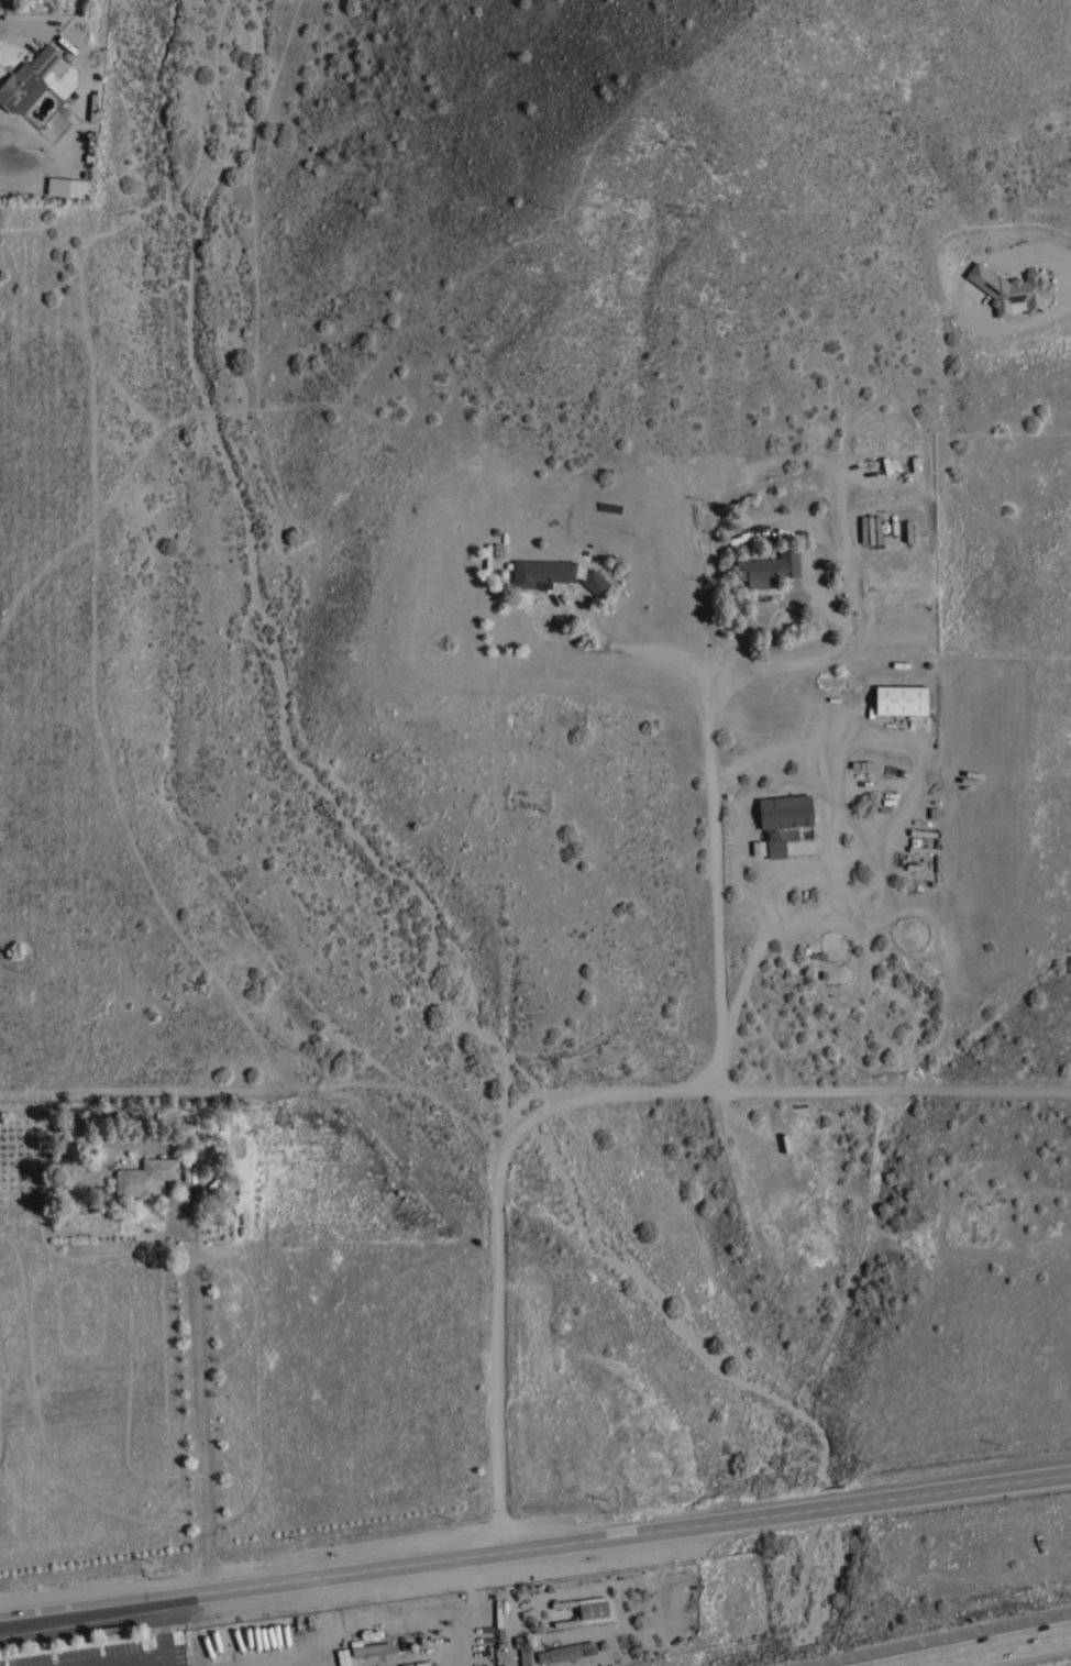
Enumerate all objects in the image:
road: (19, 34)
building: (26, 80)
building: (67, 187)
building: (1012, 289)
building: (769, 569)
building: (542, 573)
building: (595, 582)
road: (772, 605)
road: (627, 643)
road: (838, 649)
building: (903, 698)
building: (871, 766)
building: (785, 810)
building: (796, 847)
building: (758, 848)
building: (776, 848)
road: (716, 880)
road: (805, 1090)
road: (532, 1122)
building: (144, 1176)
road: (499, 1334)
road: (201, 1409)
road: (534, 1540)
building: (584, 1610)
building: (499, 1614)
road: (976, 1645)
building: (522, 1651)
building: (571, 1651)
building: (372, 1654)

